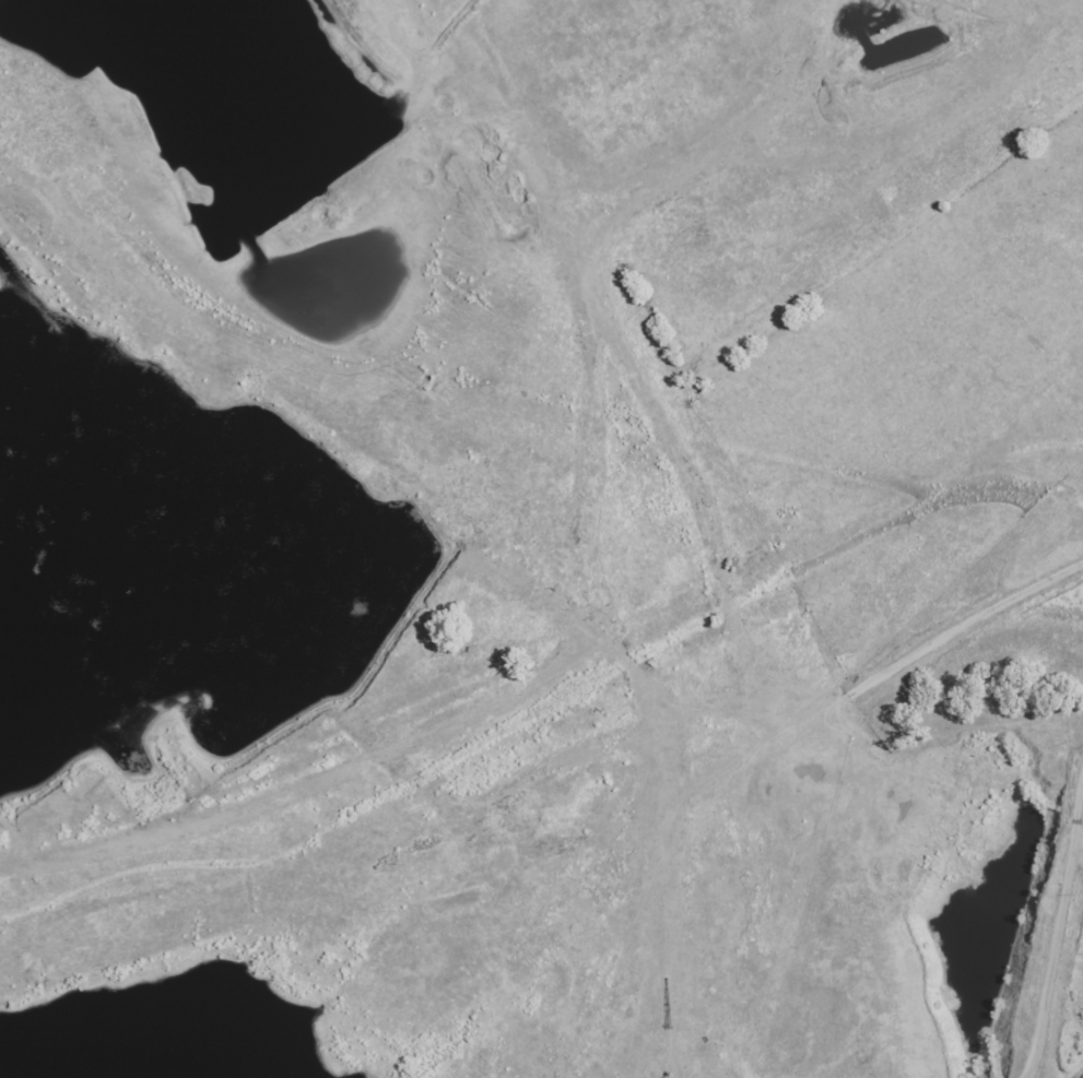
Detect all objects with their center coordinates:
building: (954, 795)
road: (1053, 936)

